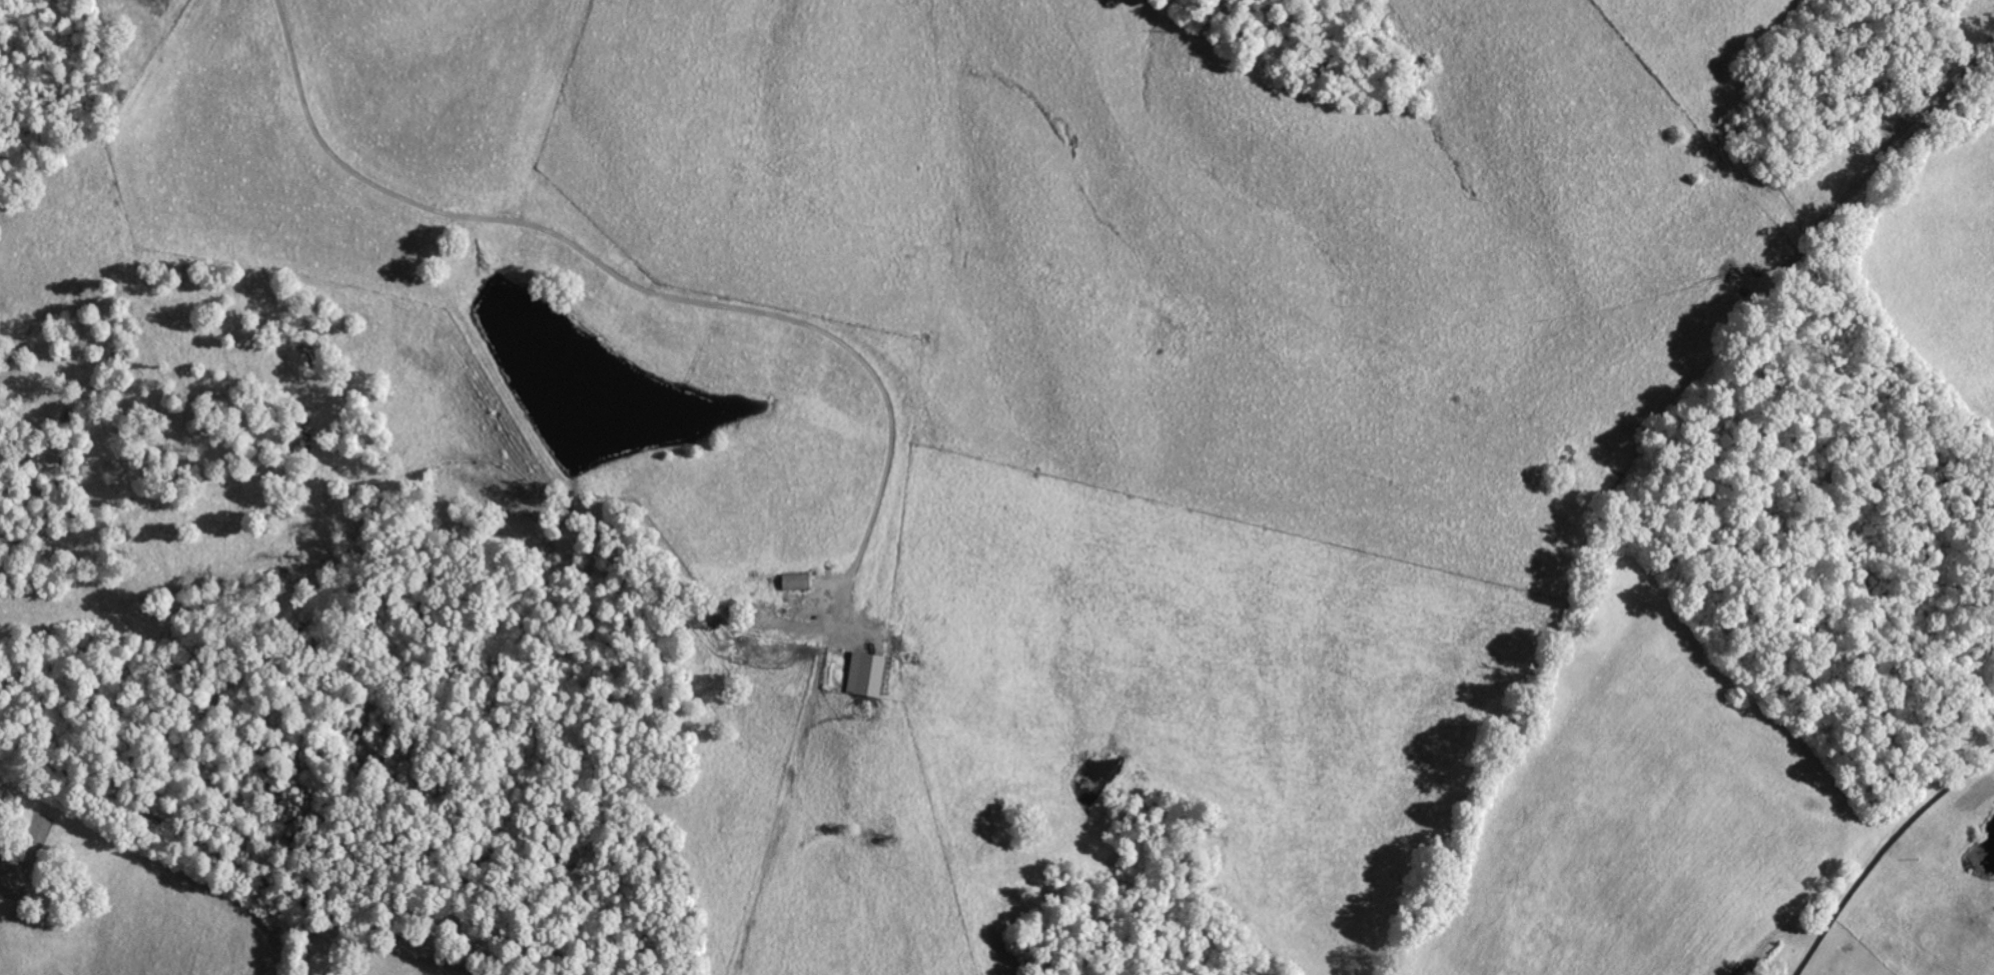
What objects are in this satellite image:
building: (797, 582)
building: (867, 674)
road: (1888, 857)

